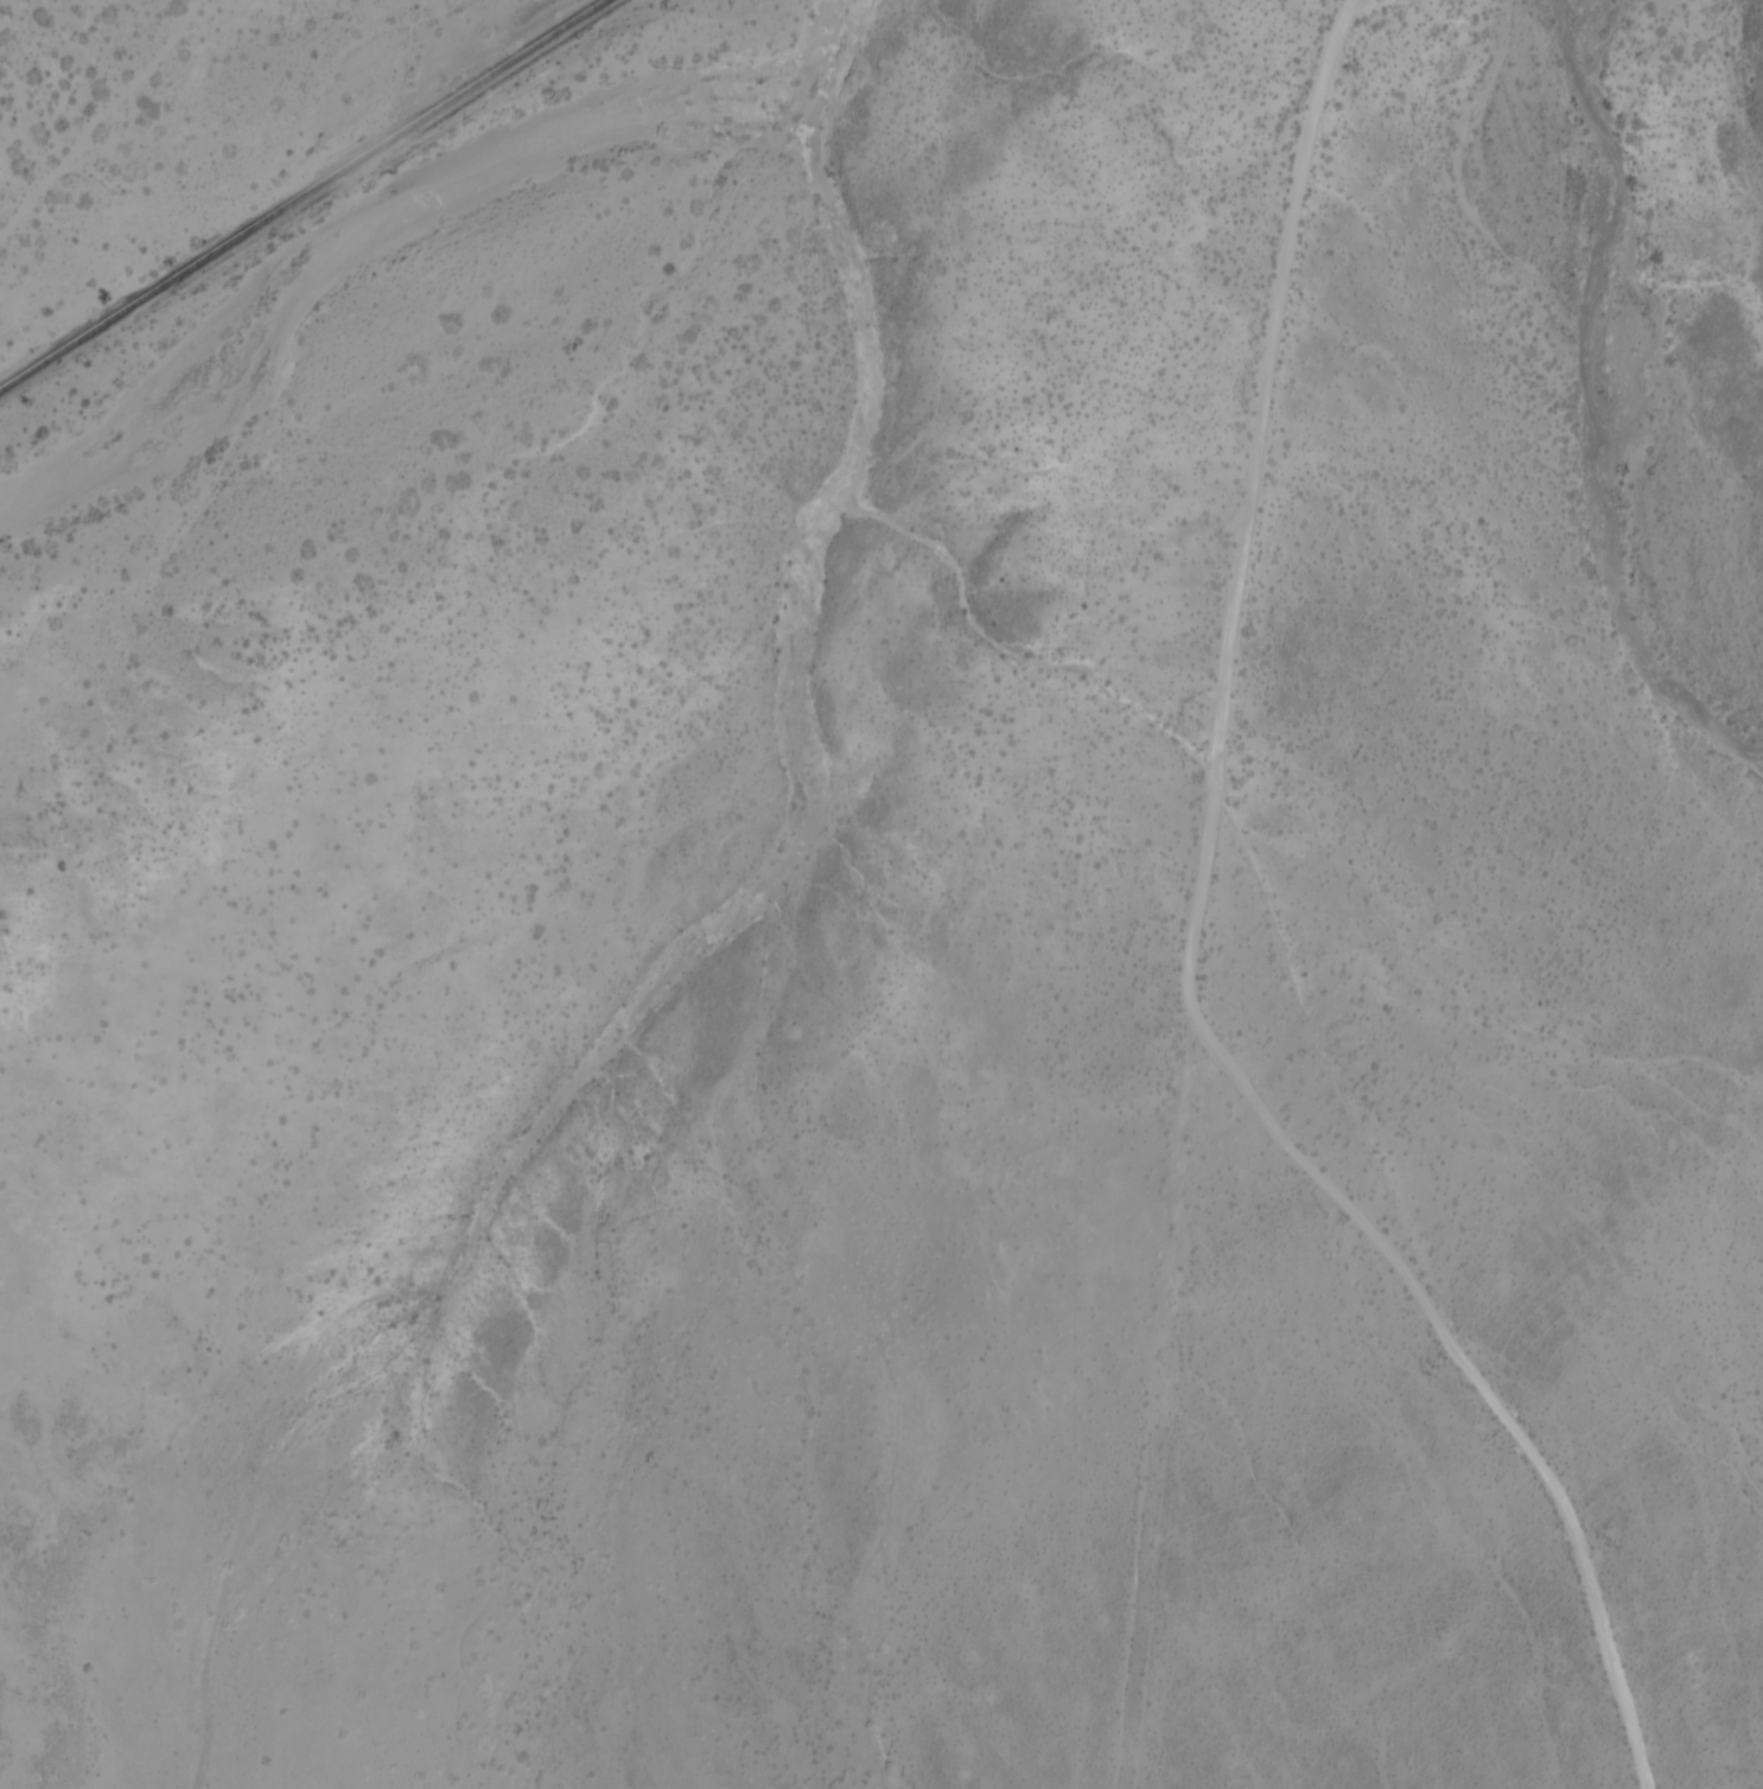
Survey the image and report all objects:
railway: (300, 192)
river: (406, 204)
road: (1188, 955)

